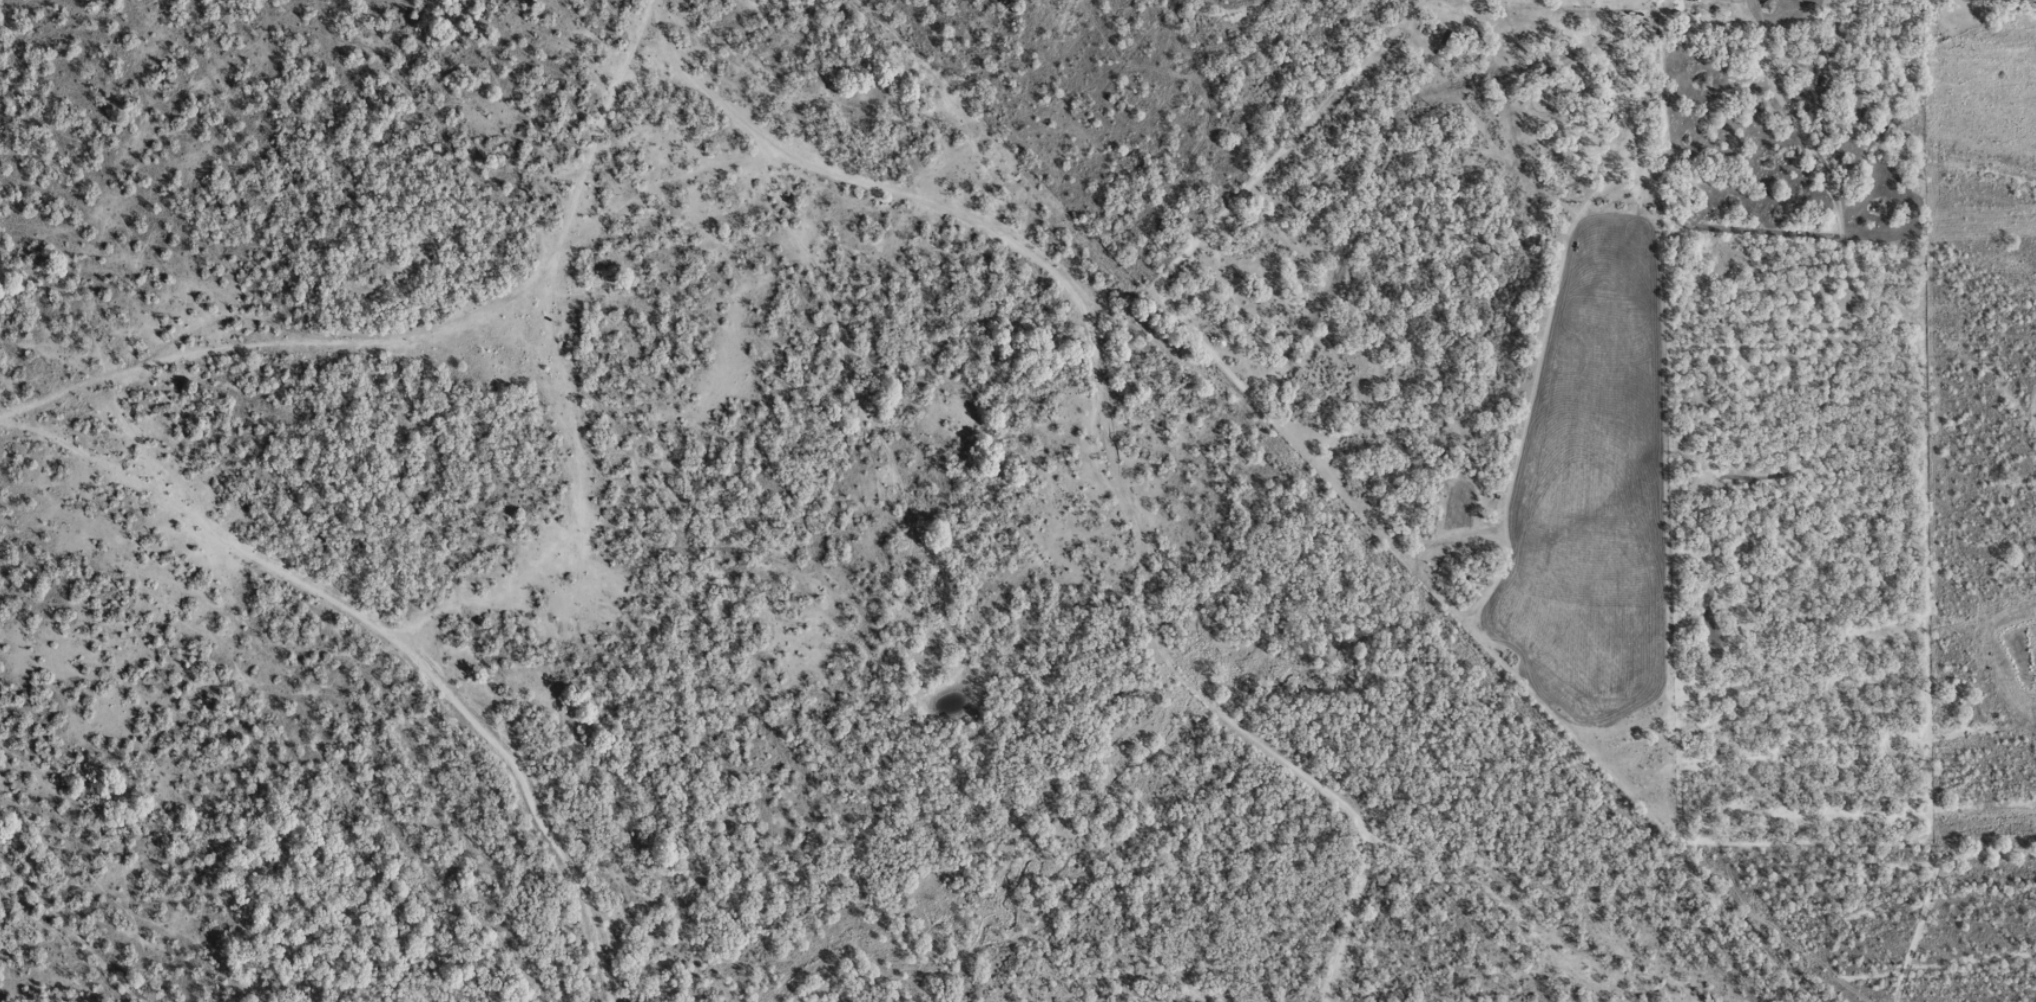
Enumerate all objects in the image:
road: (701, 90)
road: (517, 293)
road: (1307, 907)
road: (1499, 907)

